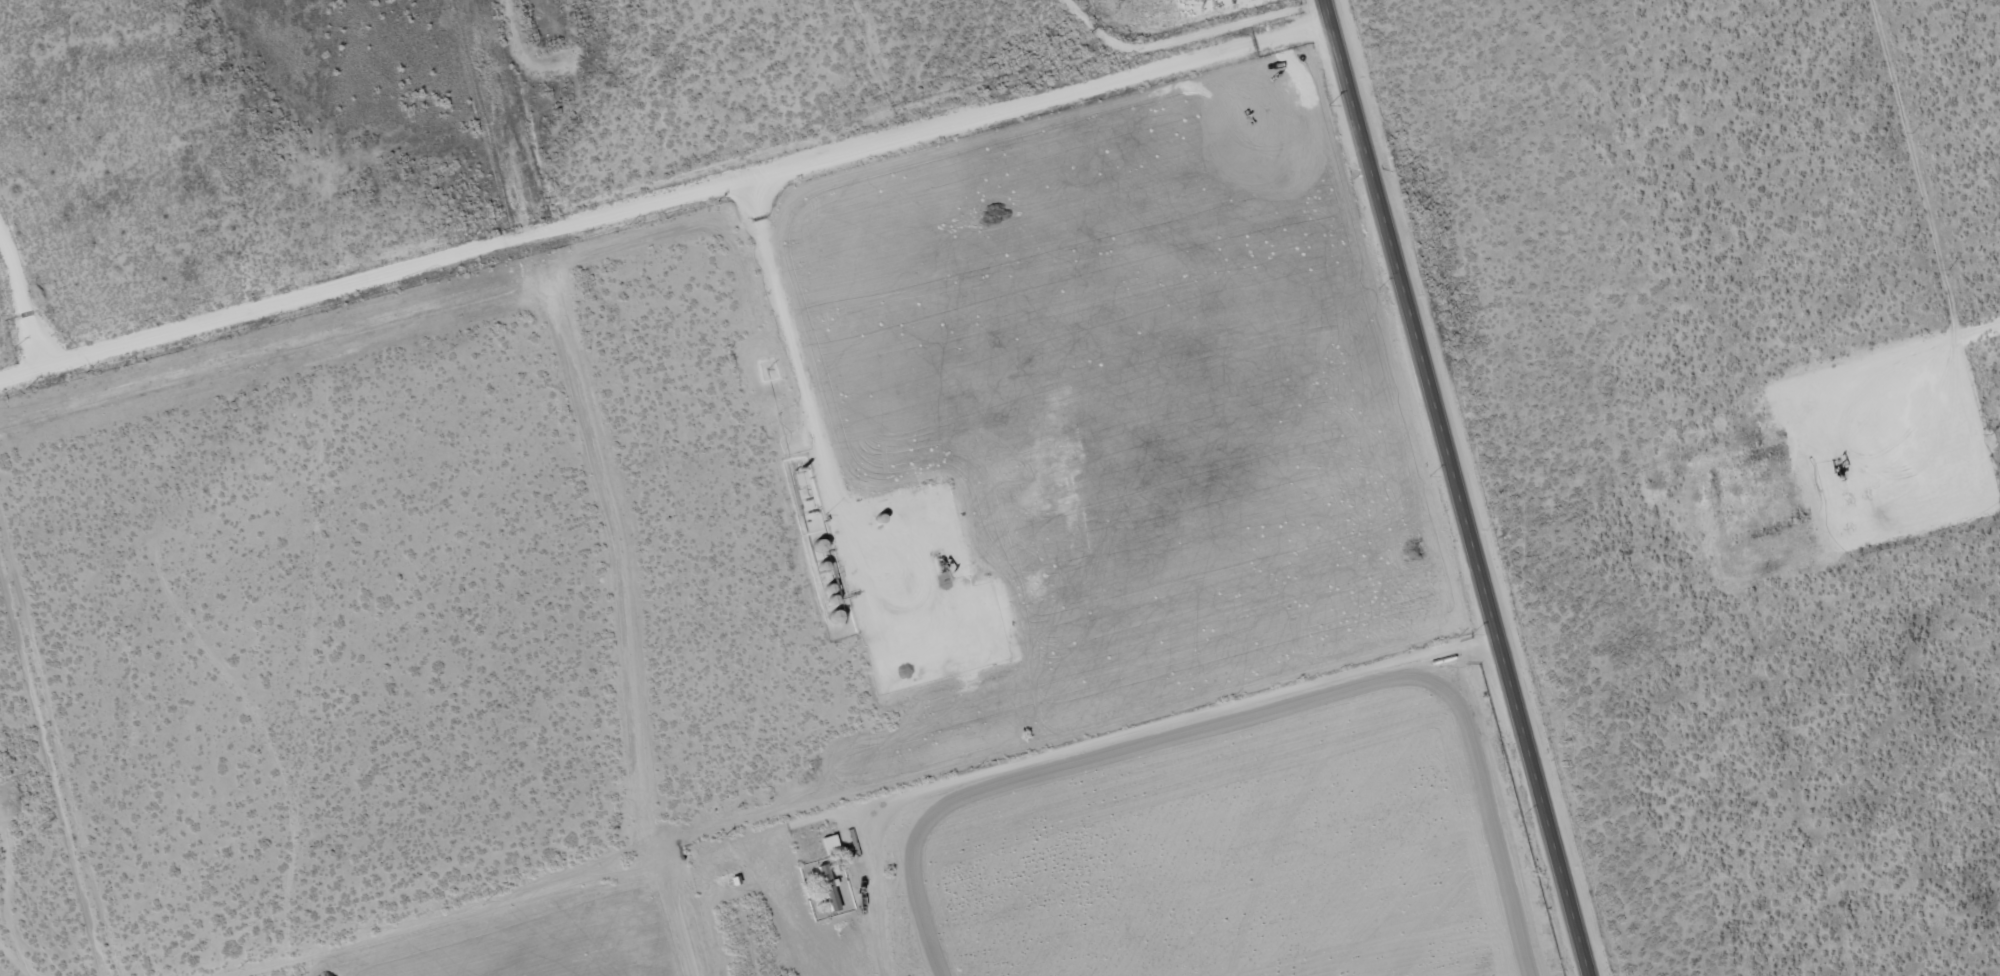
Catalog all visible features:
road: (918, 107)
road: (1451, 487)
road: (1092, 741)
building: (830, 845)
building: (827, 887)

